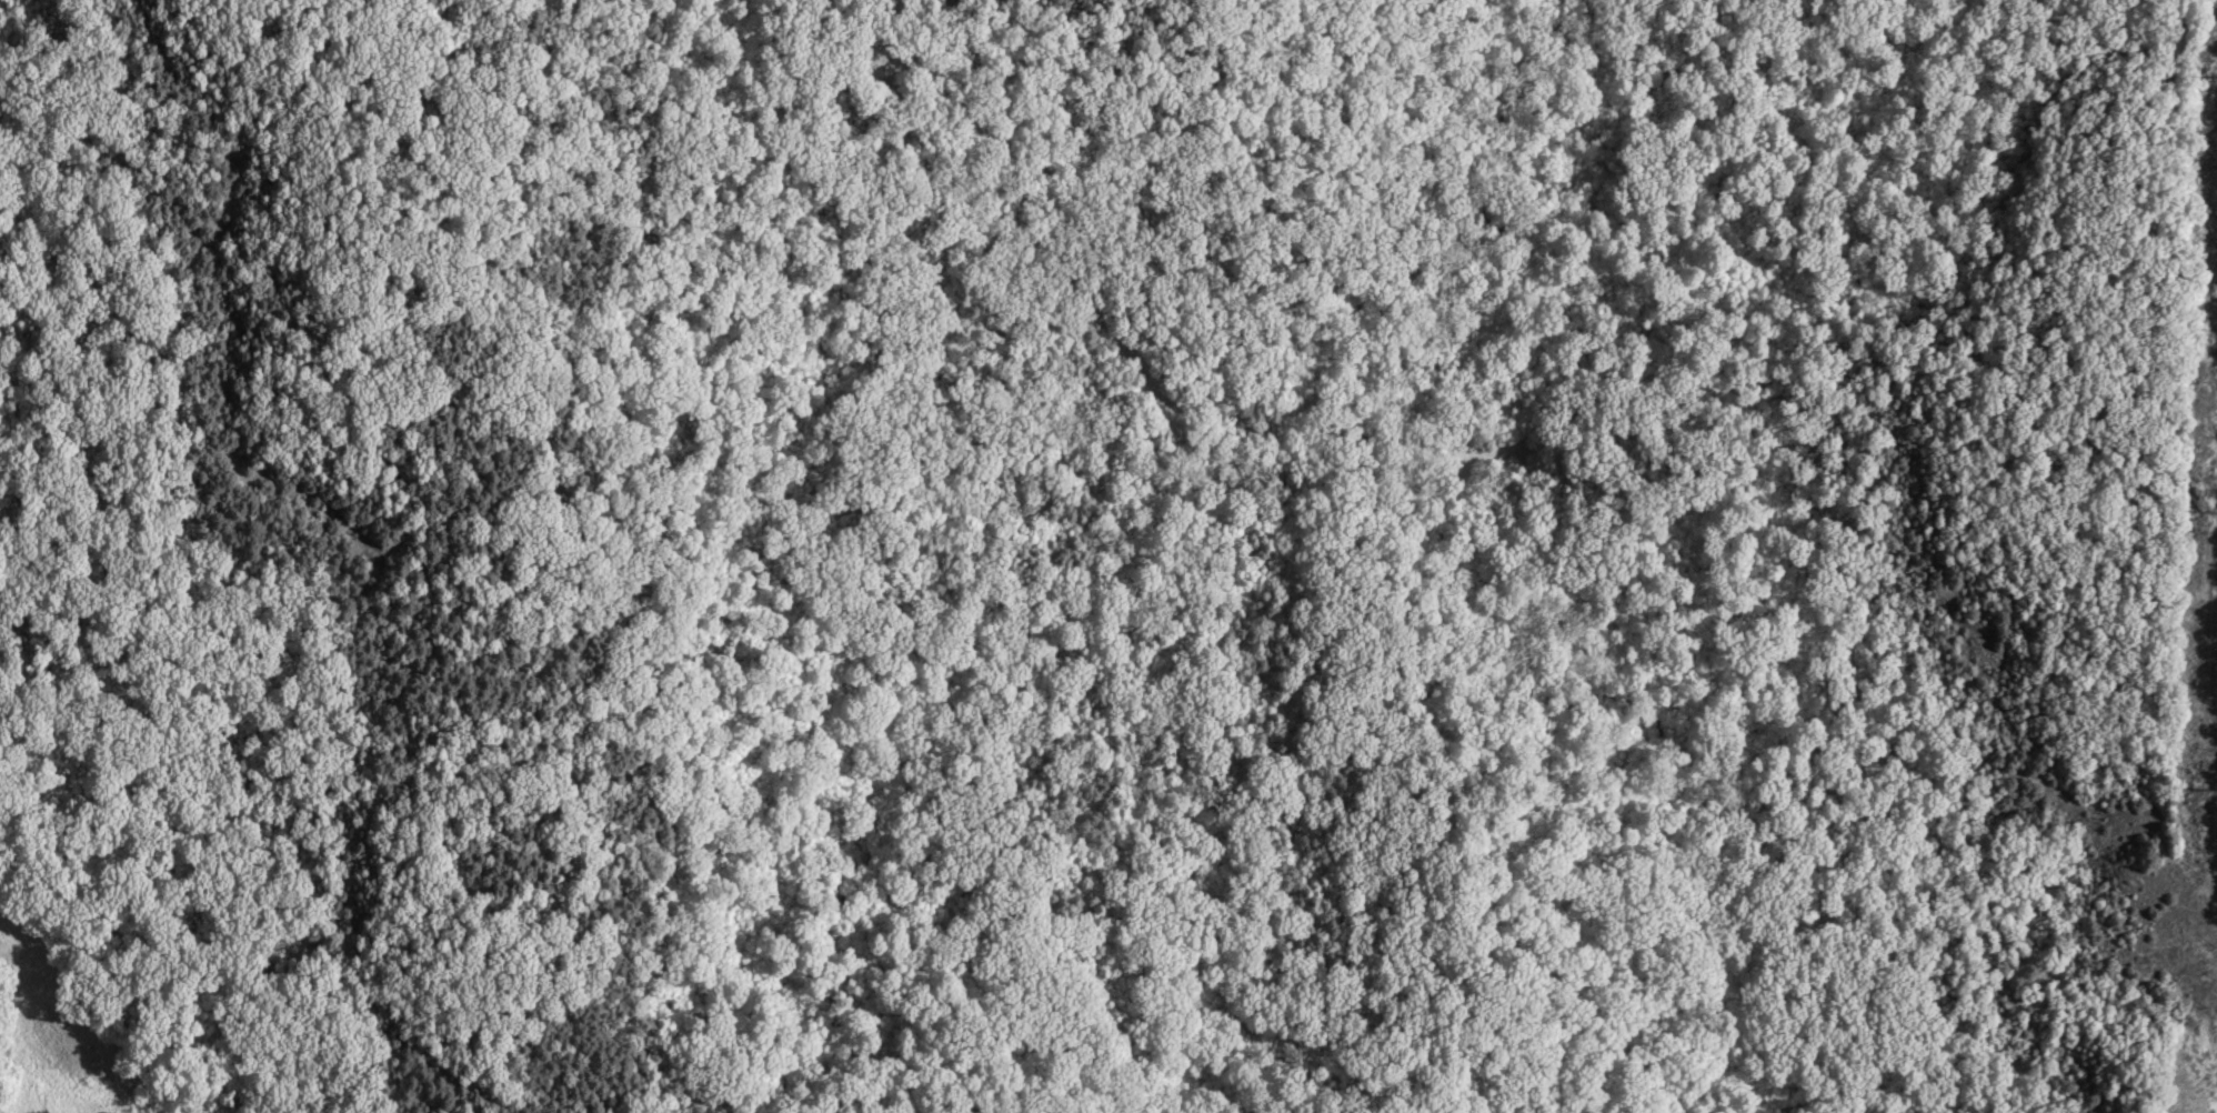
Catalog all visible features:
power tower: (2216, 330)
power tower: (2206, 789)

